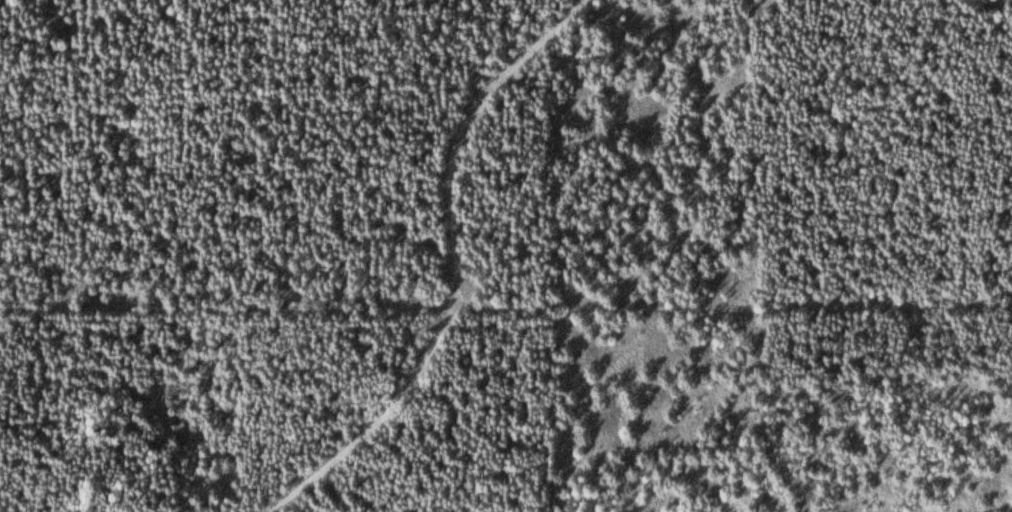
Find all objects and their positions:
road: (464, 268)
road: (506, 303)

